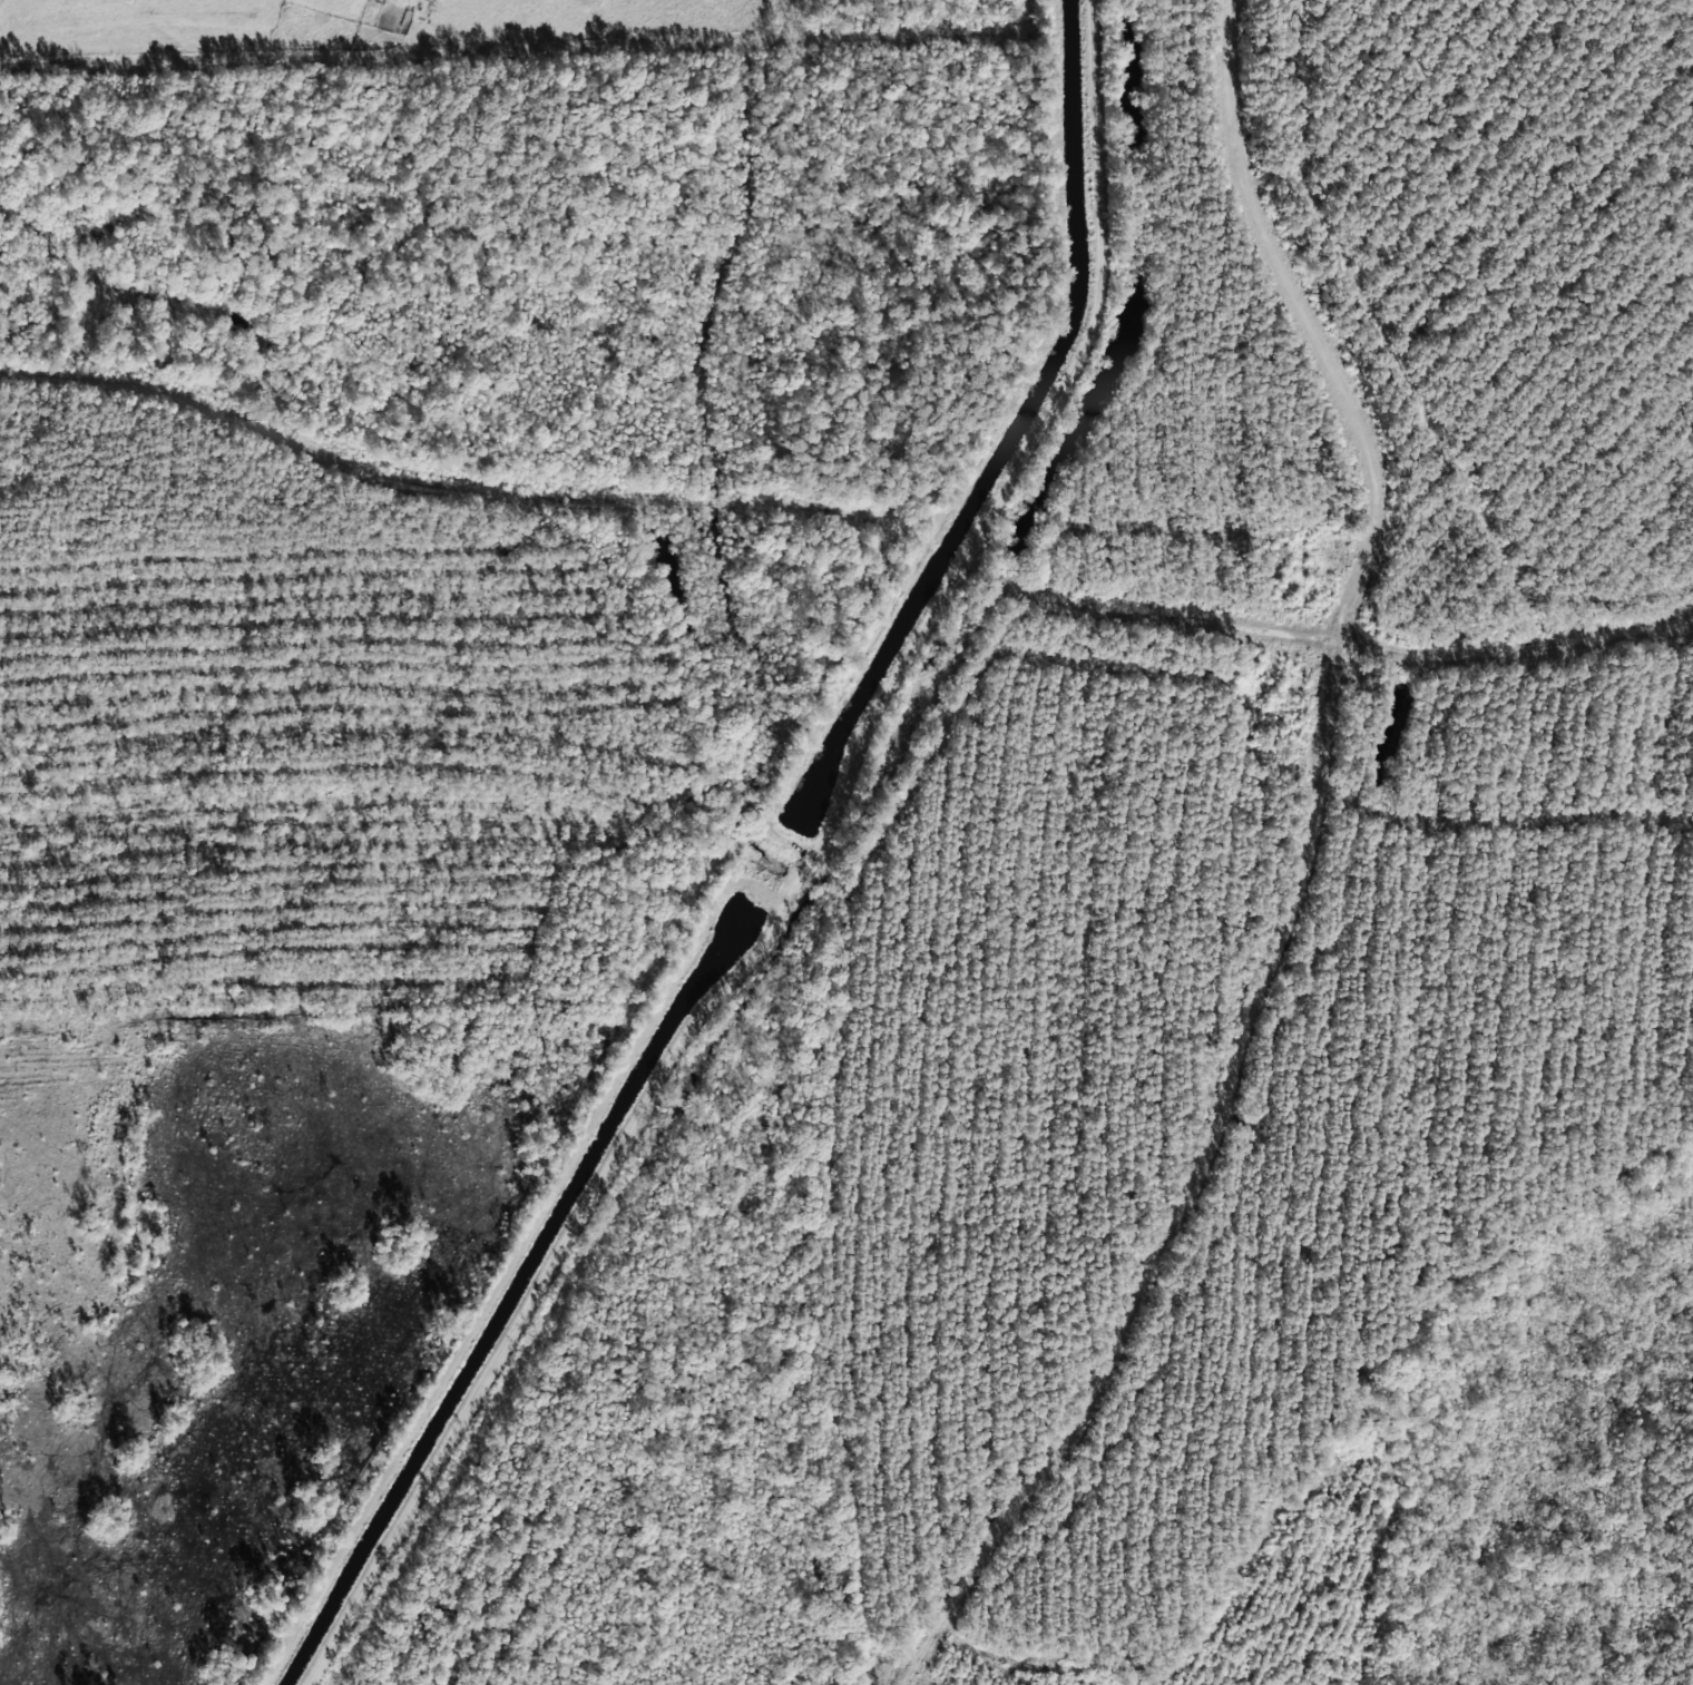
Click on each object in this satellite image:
road: (1318, 298)
road: (850, 488)

